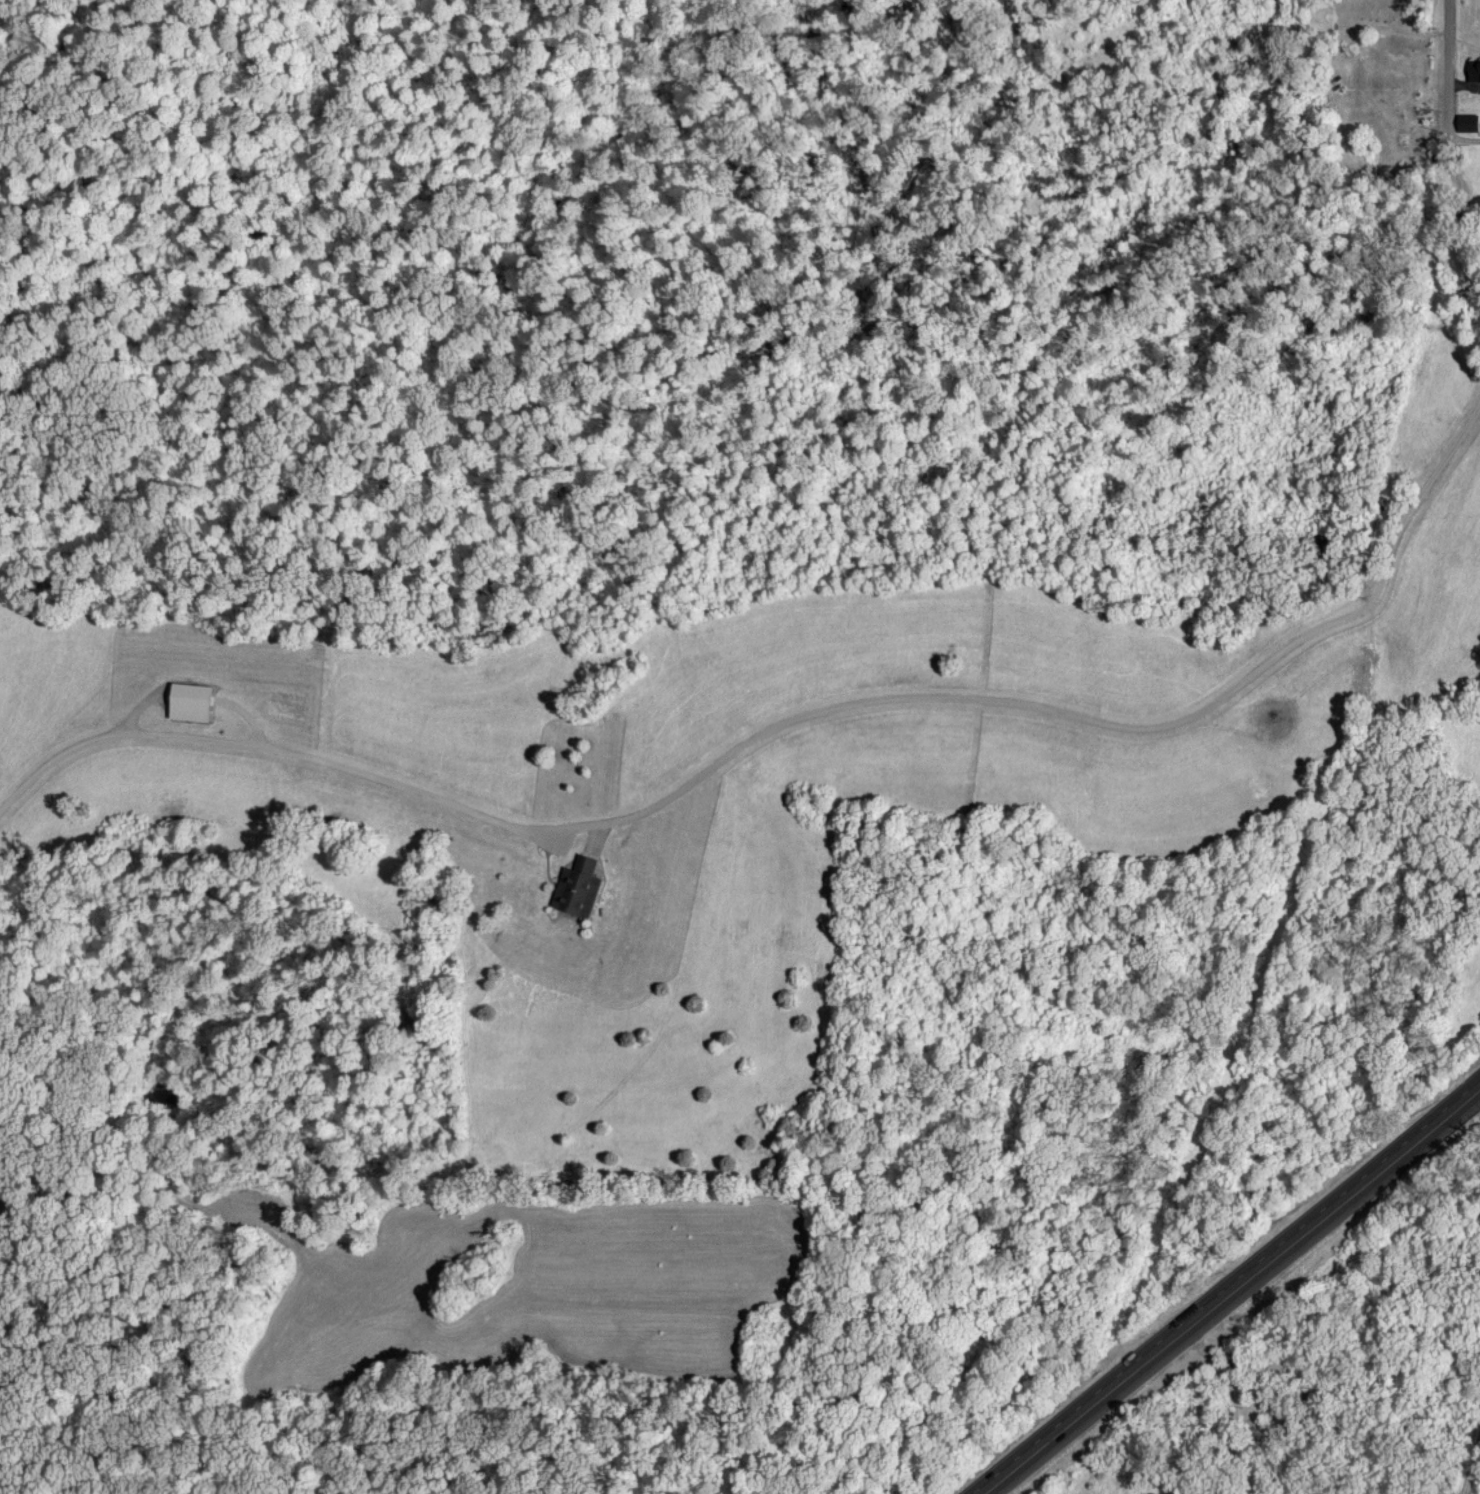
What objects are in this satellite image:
building: (1472, 69)
road: (1449, 71)
building: (1465, 121)
road: (1464, 175)
road: (915, 700)
building: (186, 701)
road: (111, 735)
building: (574, 887)
road: (1232, 1290)
road: (1469, 1463)

